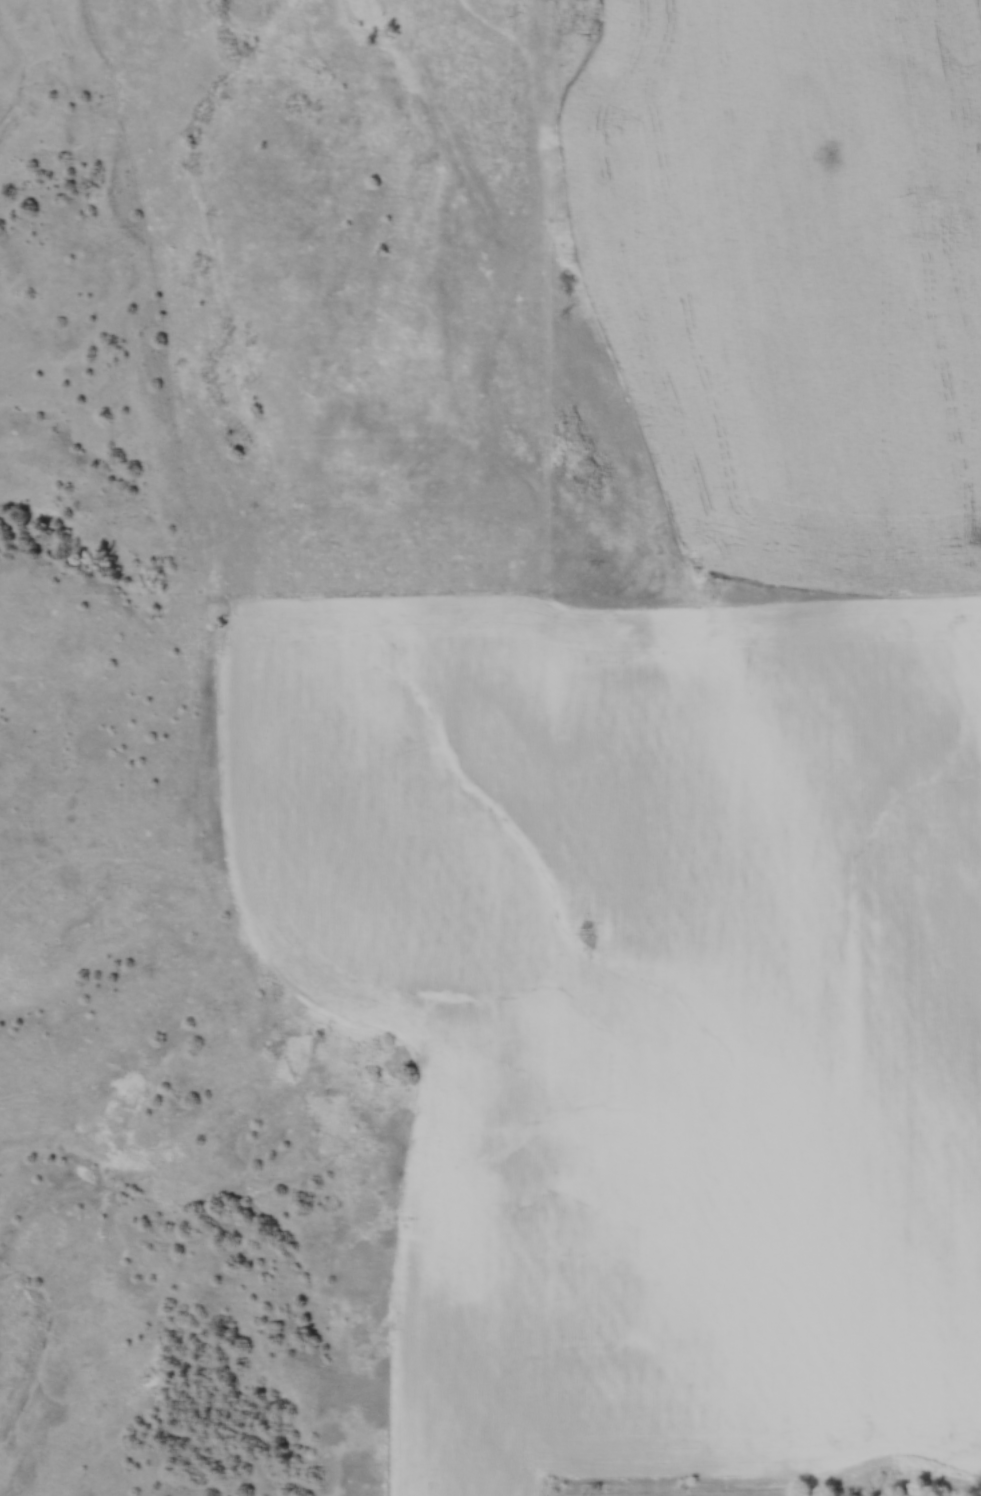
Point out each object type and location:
power tower: (593, 33)
power tower: (591, 571)
power tower: (589, 931)
power tower: (586, 1495)

